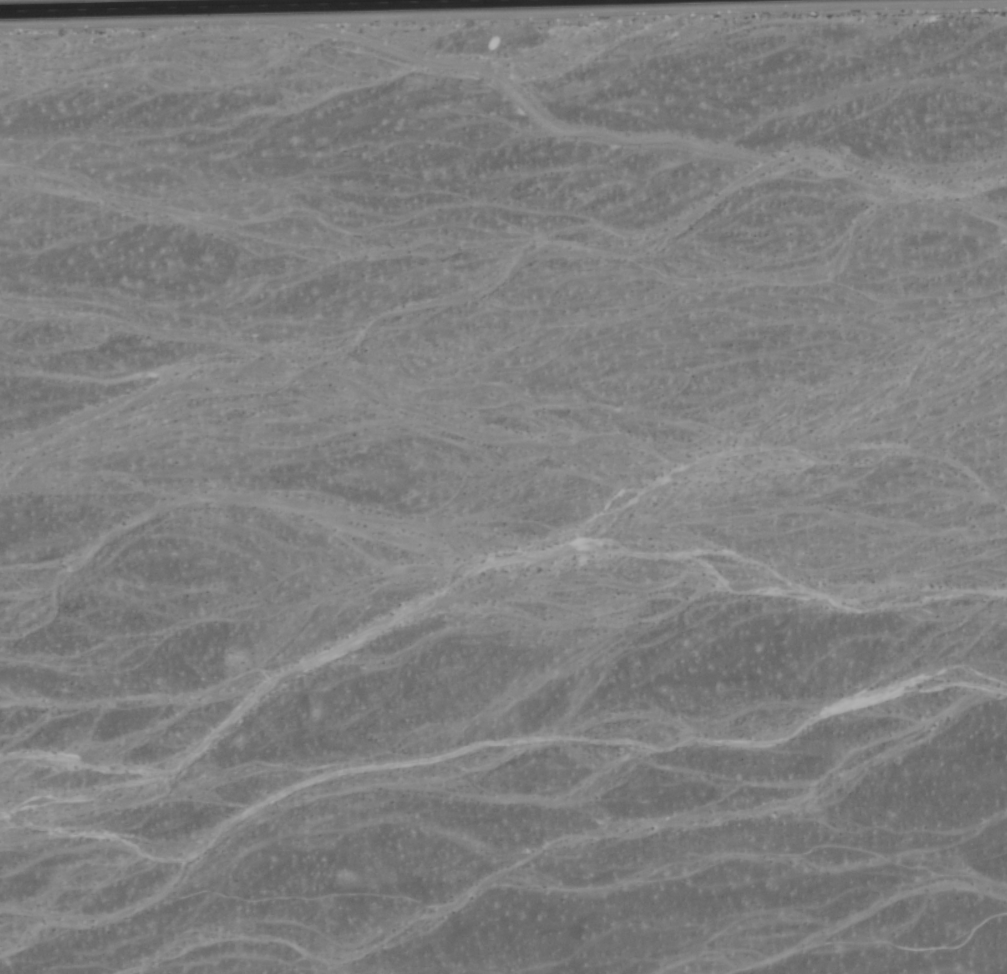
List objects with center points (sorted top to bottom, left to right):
road: (259, 5)

